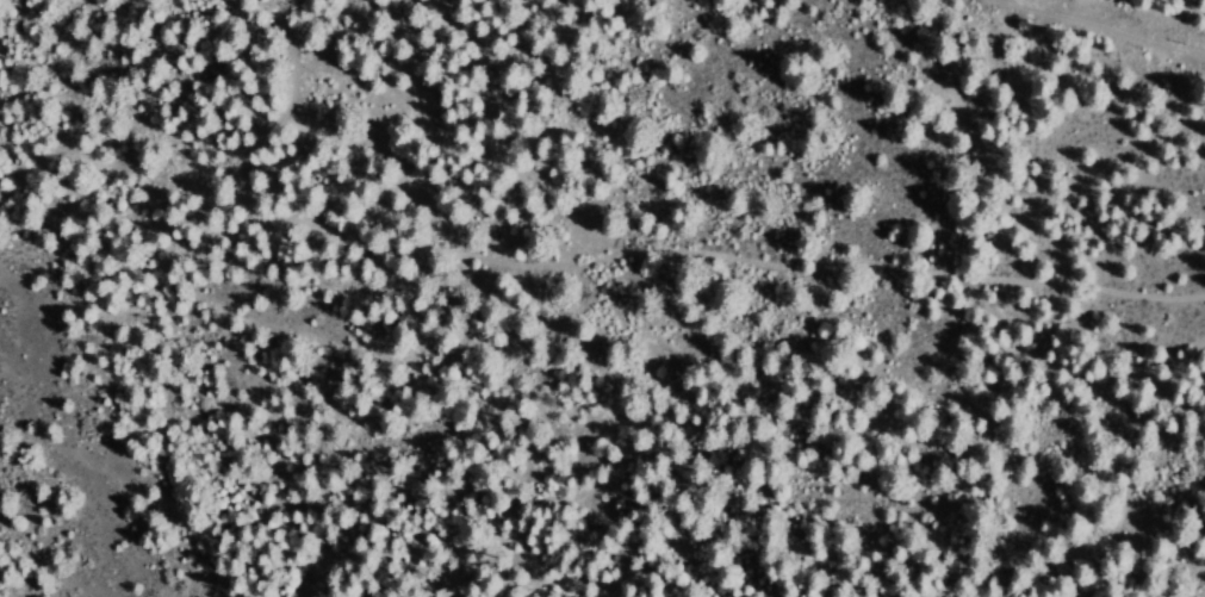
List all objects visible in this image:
road: (1144, 14)

